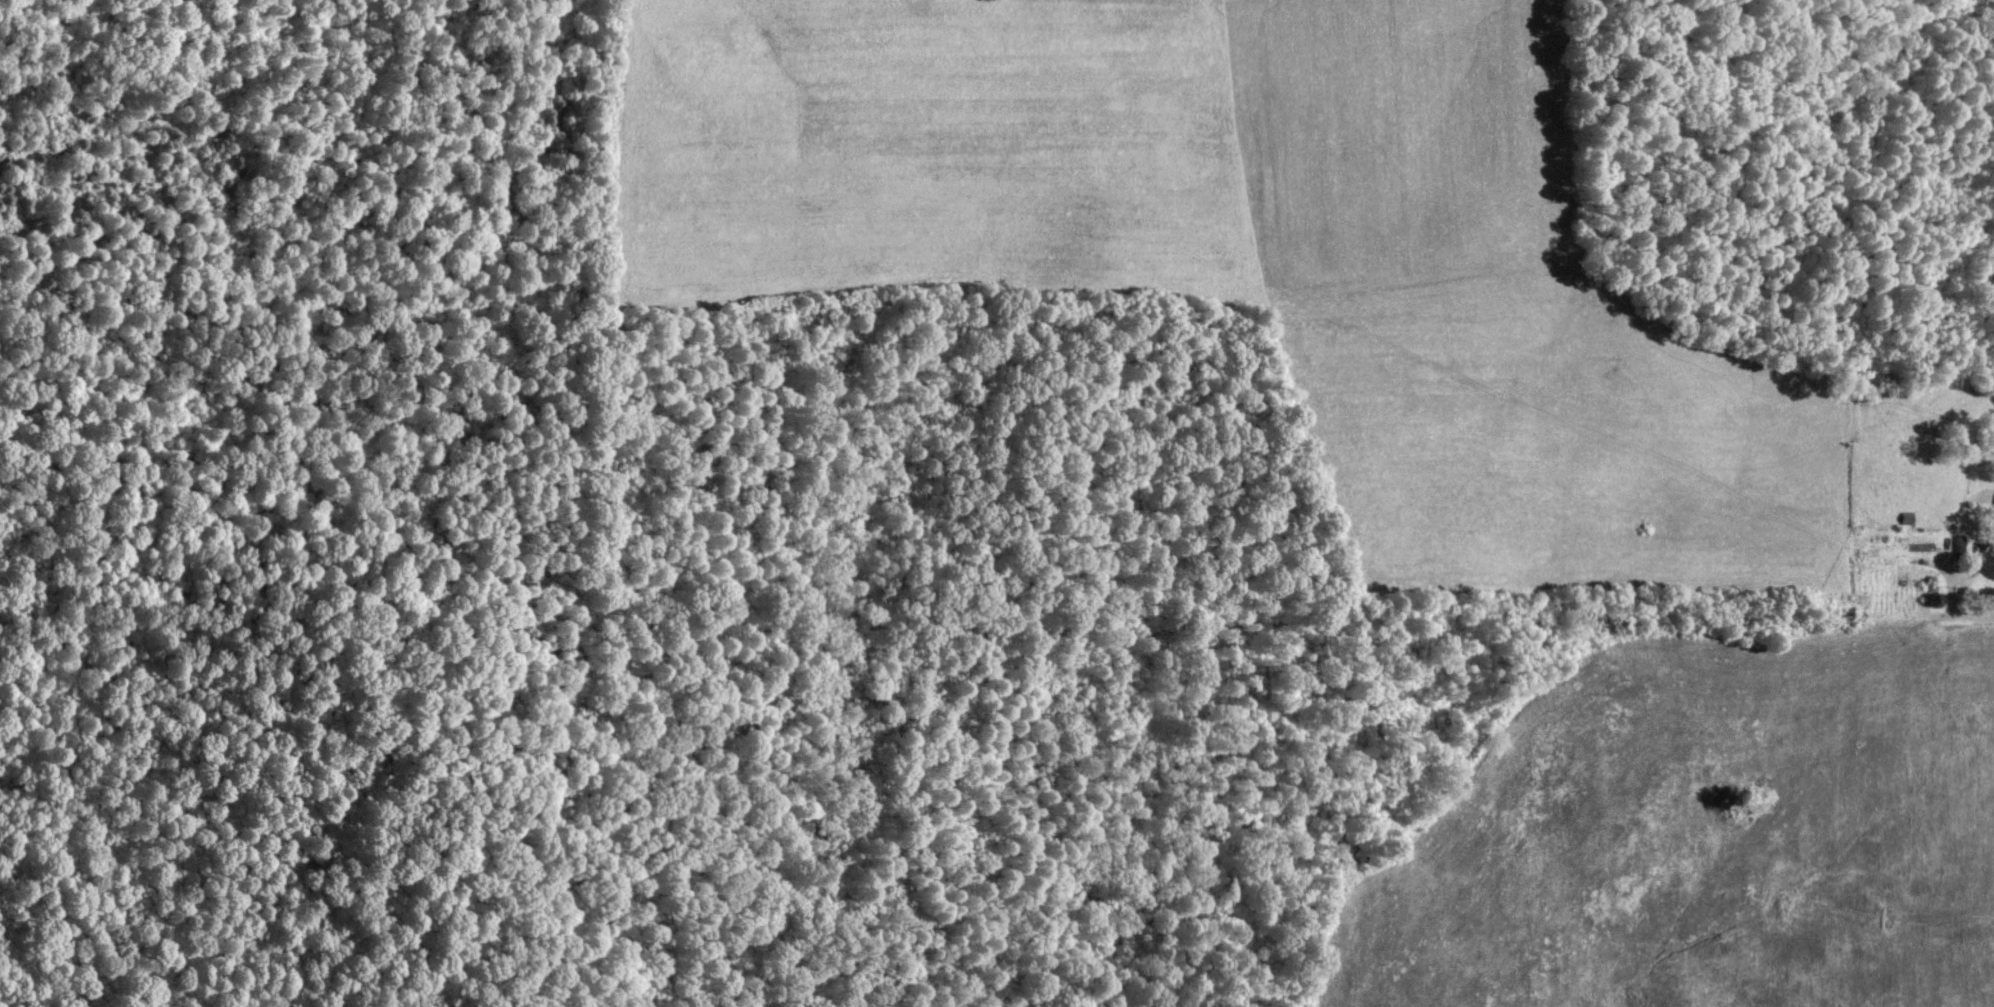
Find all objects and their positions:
building: (1955, 546)
road: (1980, 618)

